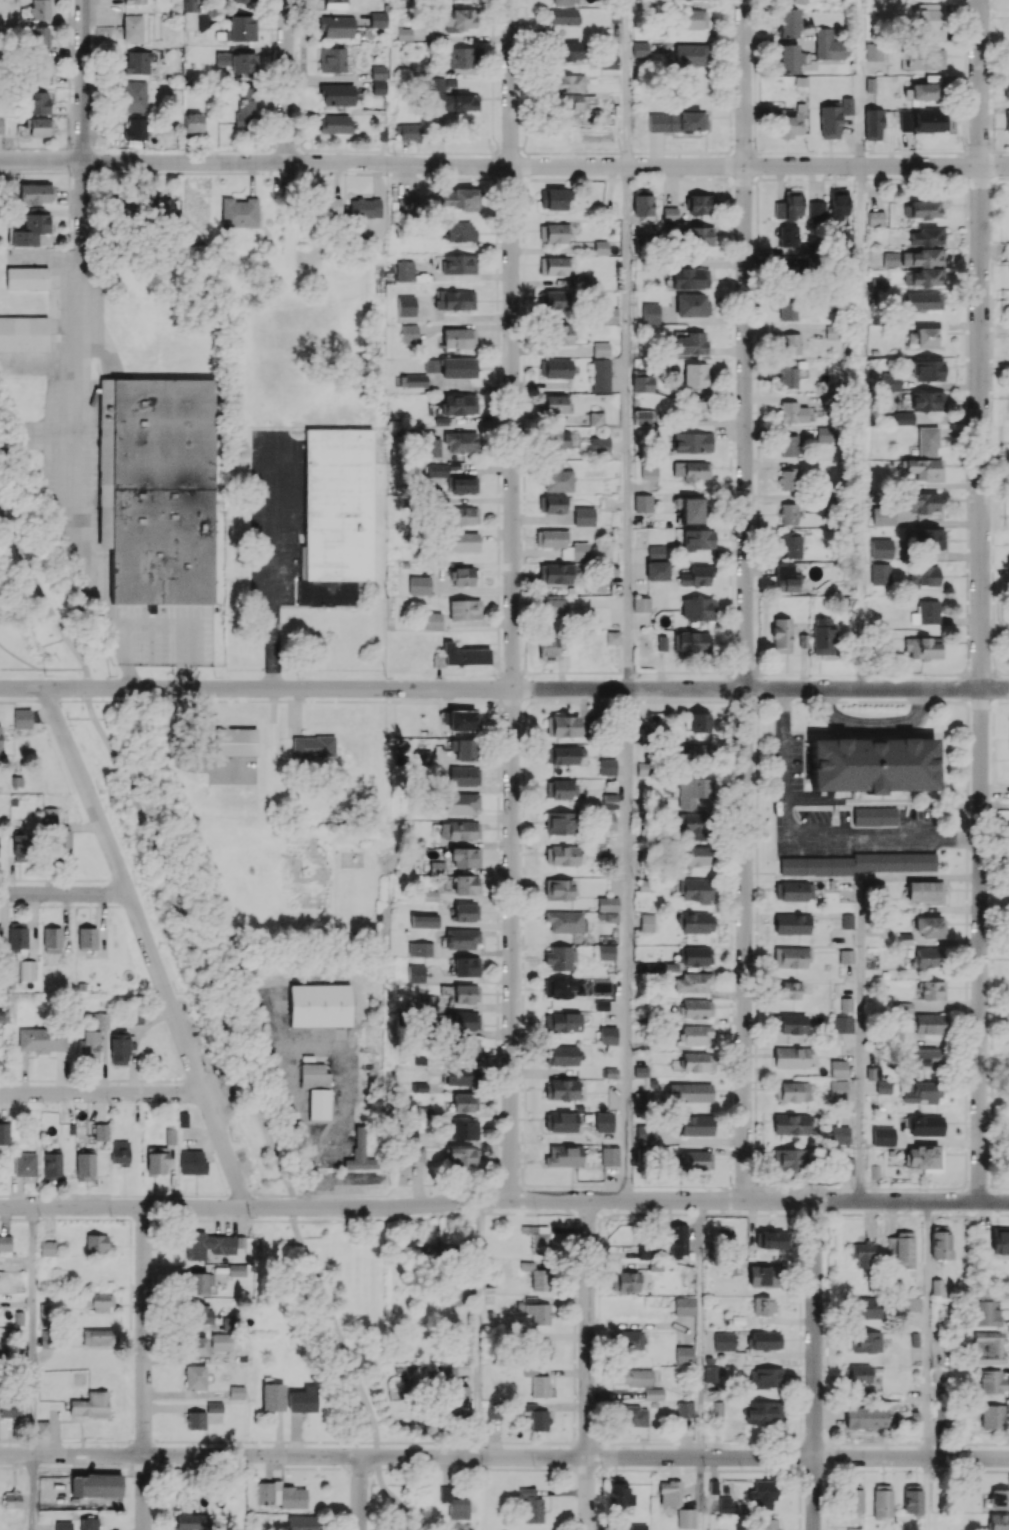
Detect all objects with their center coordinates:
building: (249, 0)
building: (135, 2)
building: (564, 2)
building: (336, 4)
building: (36, 10)
building: (190, 15)
building: (563, 16)
building: (377, 19)
building: (460, 19)
building: (691, 19)
building: (929, 20)
building: (790, 21)
building: (242, 27)
building: (336, 27)
building: (132, 28)
building: (404, 33)
building: (40, 36)
building: (830, 45)
building: (640, 48)
building: (567, 51)
building: (873, 51)
building: (1008, 53)
building: (690, 54)
building: (463, 57)
building: (789, 58)
building: (332, 59)
building: (927, 59)
building: (236, 61)
building: (608, 61)
building: (138, 62)
building: (418, 68)
building: (42, 72)
building: (378, 79)
road: (627, 82)
building: (567, 83)
building: (1006, 88)
building: (926, 89)
building: (336, 94)
road: (286, 95)
building: (134, 96)
building: (450, 97)
building: (569, 101)
building: (37, 102)
building: (847, 105)
building: (245, 106)
building: (903, 115)
building: (1007, 119)
building: (676, 121)
building: (930, 121)
building: (192, 122)
building: (829, 122)
building: (873, 122)
building: (334, 123)
road: (83, 124)
building: (791, 124)
building: (39, 126)
building: (136, 128)
building: (409, 131)
road: (504, 165)
building: (35, 194)
building: (459, 198)
building: (554, 198)
building: (838, 203)
building: (642, 204)
building: (701, 204)
building: (789, 205)
building: (124, 206)
building: (160, 206)
building: (365, 207)
building: (330, 208)
building: (924, 209)
building: (816, 211)
building: (238, 212)
building: (670, 213)
building: (875, 218)
building: (30, 229)
building: (459, 230)
building: (553, 232)
building: (699, 235)
building: (788, 235)
building: (927, 236)
road: (858, 238)
building: (600, 247)
building: (915, 258)
building: (458, 264)
building: (554, 265)
building: (787, 268)
building: (405, 270)
building: (924, 277)
building: (26, 278)
building: (690, 278)
building: (454, 299)
building: (553, 299)
building: (924, 300)
building: (406, 305)
building: (691, 305)
building: (787, 309)
building: (650, 312)
building: (609, 315)
building: (833, 332)
building: (409, 333)
building: (23, 334)
building: (560, 334)
building: (458, 337)
building: (924, 337)
building: (690, 342)
building: (791, 343)
building: (601, 348)
building: (431, 365)
building: (458, 367)
building: (555, 368)
building: (927, 370)
building: (789, 373)
building: (600, 375)
building: (696, 375)
building: (412, 380)
building: (889, 381)
building: (642, 383)
building: (927, 400)
building: (556, 403)
building: (458, 404)
building: (697, 409)
building: (793, 412)
building: (643, 417)
building: (596, 418)
building: (901, 418)
road: (627, 426)
building: (824, 434)
building: (557, 439)
building: (927, 441)
building: (460, 442)
building: (692, 442)
building: (599, 445)
building: (788, 445)
building: (431, 447)
building: (923, 468)
building: (437, 470)
building: (648, 470)
building: (693, 470)
road: (84, 474)
building: (556, 477)
building: (787, 480)
building: (464, 485)
building: (157, 488)
building: (923, 502)
building: (551, 503)
building: (643, 503)
building: (693, 510)
building: (789, 513)
building: (465, 515)
building: (336, 516)
building: (584, 516)
building: (882, 516)
building: (929, 538)
building: (698, 539)
building: (460, 541)
building: (562, 544)
building: (791, 544)
building: (880, 548)
building: (656, 550)
road: (272, 564)
building: (657, 570)
building: (556, 573)
building: (880, 573)
building: (696, 575)
building: (923, 575)
building: (461, 576)
building: (787, 579)
building: (419, 585)
road: (42, 591)
park: (39, 594)
road: (511, 598)
road: (745, 599)
road: (980, 601)
building: (641, 604)
building: (554, 608)
building: (698, 608)
building: (464, 609)
building: (925, 612)
building: (433, 621)
road: (176, 623)
building: (781, 635)
building: (823, 635)
building: (613, 637)
building: (803, 640)
building: (660, 643)
building: (691, 643)
building: (547, 647)
building: (923, 647)
building: (460, 655)
road: (18, 669)
road: (38, 670)
road: (86, 688)
road: (504, 688)
road: (53, 700)
road: (85, 700)
building: (22, 718)
building: (461, 720)
road: (873, 721)
building: (699, 722)
building: (562, 726)
building: (235, 741)
building: (311, 749)
building: (463, 749)
road: (178, 750)
building: (699, 751)
building: (563, 754)
building: (422, 757)
building: (872, 764)
building: (607, 766)
building: (464, 776)
building: (560, 789)
building: (694, 793)
building: (609, 800)
building: (461, 804)
road: (995, 807)
building: (49, 815)
building: (874, 816)
building: (607, 821)
building: (558, 822)
building: (693, 825)
building: (458, 830)
road: (812, 836)
building: (63, 842)
building: (22, 847)
building: (561, 855)
building: (696, 855)
building: (465, 857)
building: (861, 863)
building: (436, 866)
building: (466, 884)
building: (558, 888)
building: (696, 890)
building: (793, 890)
building: (924, 890)
building: (876, 892)
road: (64, 893)
building: (607, 908)
building: (465, 911)
building: (423, 920)
building: (846, 920)
building: (565, 921)
building: (646, 922)
building: (695, 922)
building: (791, 923)
building: (929, 926)
building: (0, 936)
building: (17, 936)
building: (462, 938)
building: (51, 939)
building: (86, 942)
road: (627, 943)
road: (147, 945)
building: (419, 948)
building: (606, 951)
building: (696, 955)
building: (846, 956)
building: (558, 957)
building: (791, 957)
building: (928, 957)
building: (465, 966)
building: (27, 970)
building: (416, 973)
road: (860, 978)
building: (693, 982)
building: (558, 988)
building: (790, 989)
building: (932, 990)
building: (465, 993)
building: (425, 1002)
building: (601, 1004)
building: (845, 1004)
building: (319, 1005)
building: (696, 1008)
building: (4, 1015)
building: (135, 1015)
building: (100, 1017)
building: (462, 1020)
building: (561, 1021)
building: (789, 1023)
building: (930, 1023)
building: (842, 1024)
building: (607, 1035)
building: (695, 1035)
building: (41, 1039)
building: (88, 1047)
building: (119, 1047)
building: (469, 1048)
building: (561, 1055)
building: (927, 1056)
building: (792, 1057)
building: (697, 1061)
building: (838, 1069)
building: (610, 1072)
building: (314, 1075)
building: (460, 1076)
building: (877, 1079)
building: (644, 1086)
building: (561, 1089)
building: (838, 1089)
building: (690, 1091)
building: (792, 1091)
building: (921, 1091)
road: (101, 1093)
building: (465, 1102)
building: (318, 1103)
road: (258, 1114)
building: (560, 1121)
building: (604, 1122)
building: (795, 1124)
building: (696, 1125)
building: (925, 1125)
building: (463, 1129)
building: (100, 1131)
building: (4, 1133)
building: (645, 1133)
building: (170, 1135)
building: (407, 1135)
building: (839, 1135)
building: (882, 1136)
building: (119, 1152)
building: (361, 1153)
building: (416, 1154)
building: (564, 1155)
building: (609, 1155)
building: (463, 1156)
building: (924, 1157)
building: (789, 1158)
building: (694, 1160)
building: (156, 1162)
building: (192, 1162)
building: (1008, 1162)
building: (24, 1164)
building: (847, 1165)
building: (51, 1166)
building: (84, 1166)
road: (504, 1198)
building: (537, 1237)
building: (771, 1239)
building: (678, 1240)
building: (999, 1240)
building: (940, 1242)
building: (5, 1243)
building: (97, 1243)
building: (207, 1245)
building: (48, 1248)
building: (901, 1248)
building: (645, 1251)
building: (862, 1253)
building: (727, 1268)
building: (236, 1269)
building: (536, 1276)
building: (762, 1276)
building: (625, 1281)
building: (198, 1282)
building: (451, 1294)
building: (98, 1302)
building: (912, 1303)
building: (684, 1305)
building: (761, 1305)
building: (865, 1307)
building: (535, 1310)
building: (986, 1313)
building: (198, 1314)
building: (226, 1323)
road: (477, 1328)
road: (700, 1328)
road: (927, 1329)
building: (97, 1337)
building: (627, 1340)
building: (765, 1340)
building: (220, 1341)
building: (724, 1341)
building: (865, 1341)
building: (196, 1346)
building: (987, 1347)
building: (540, 1349)
building: (684, 1354)
road: (587, 1364)
road: (814, 1365)
road: (31, 1368)
road: (144, 1368)
building: (711, 1373)
building: (447, 1374)
building: (858, 1374)
building: (195, 1377)
building: (633, 1377)
building: (766, 1377)
building: (992, 1382)
building: (537, 1383)
building: (236, 1392)
building: (653, 1393)
building: (272, 1396)
building: (459, 1397)
building: (302, 1399)
building: (90, 1405)
building: (214, 1406)
building: (10, 1407)
building: (494, 1409)
building: (685, 1409)
building: (763, 1412)
building: (992, 1416)
building: (634, 1417)
building: (865, 1417)
building: (196, 1420)
building: (540, 1420)
building: (42, 1427)
road: (504, 1456)
building: (96, 1485)
road: (359, 1493)
building: (669, 1493)
road: (699, 1493)
building: (619, 1494)
building: (763, 1494)
road: (927, 1494)
building: (281, 1495)
building: (854, 1498)
building: (11, 1499)
building: (912, 1499)
building: (999, 1499)
building: (882, 1501)
building: (454, 1504)
building: (726, 1504)
building: (531, 1505)
building: (685, 1518)
building: (191, 1521)
building: (998, 1521)
building: (302, 1522)
building: (88, 1523)
building: (768, 1524)
building: (63, 1525)
building: (638, 1526)

